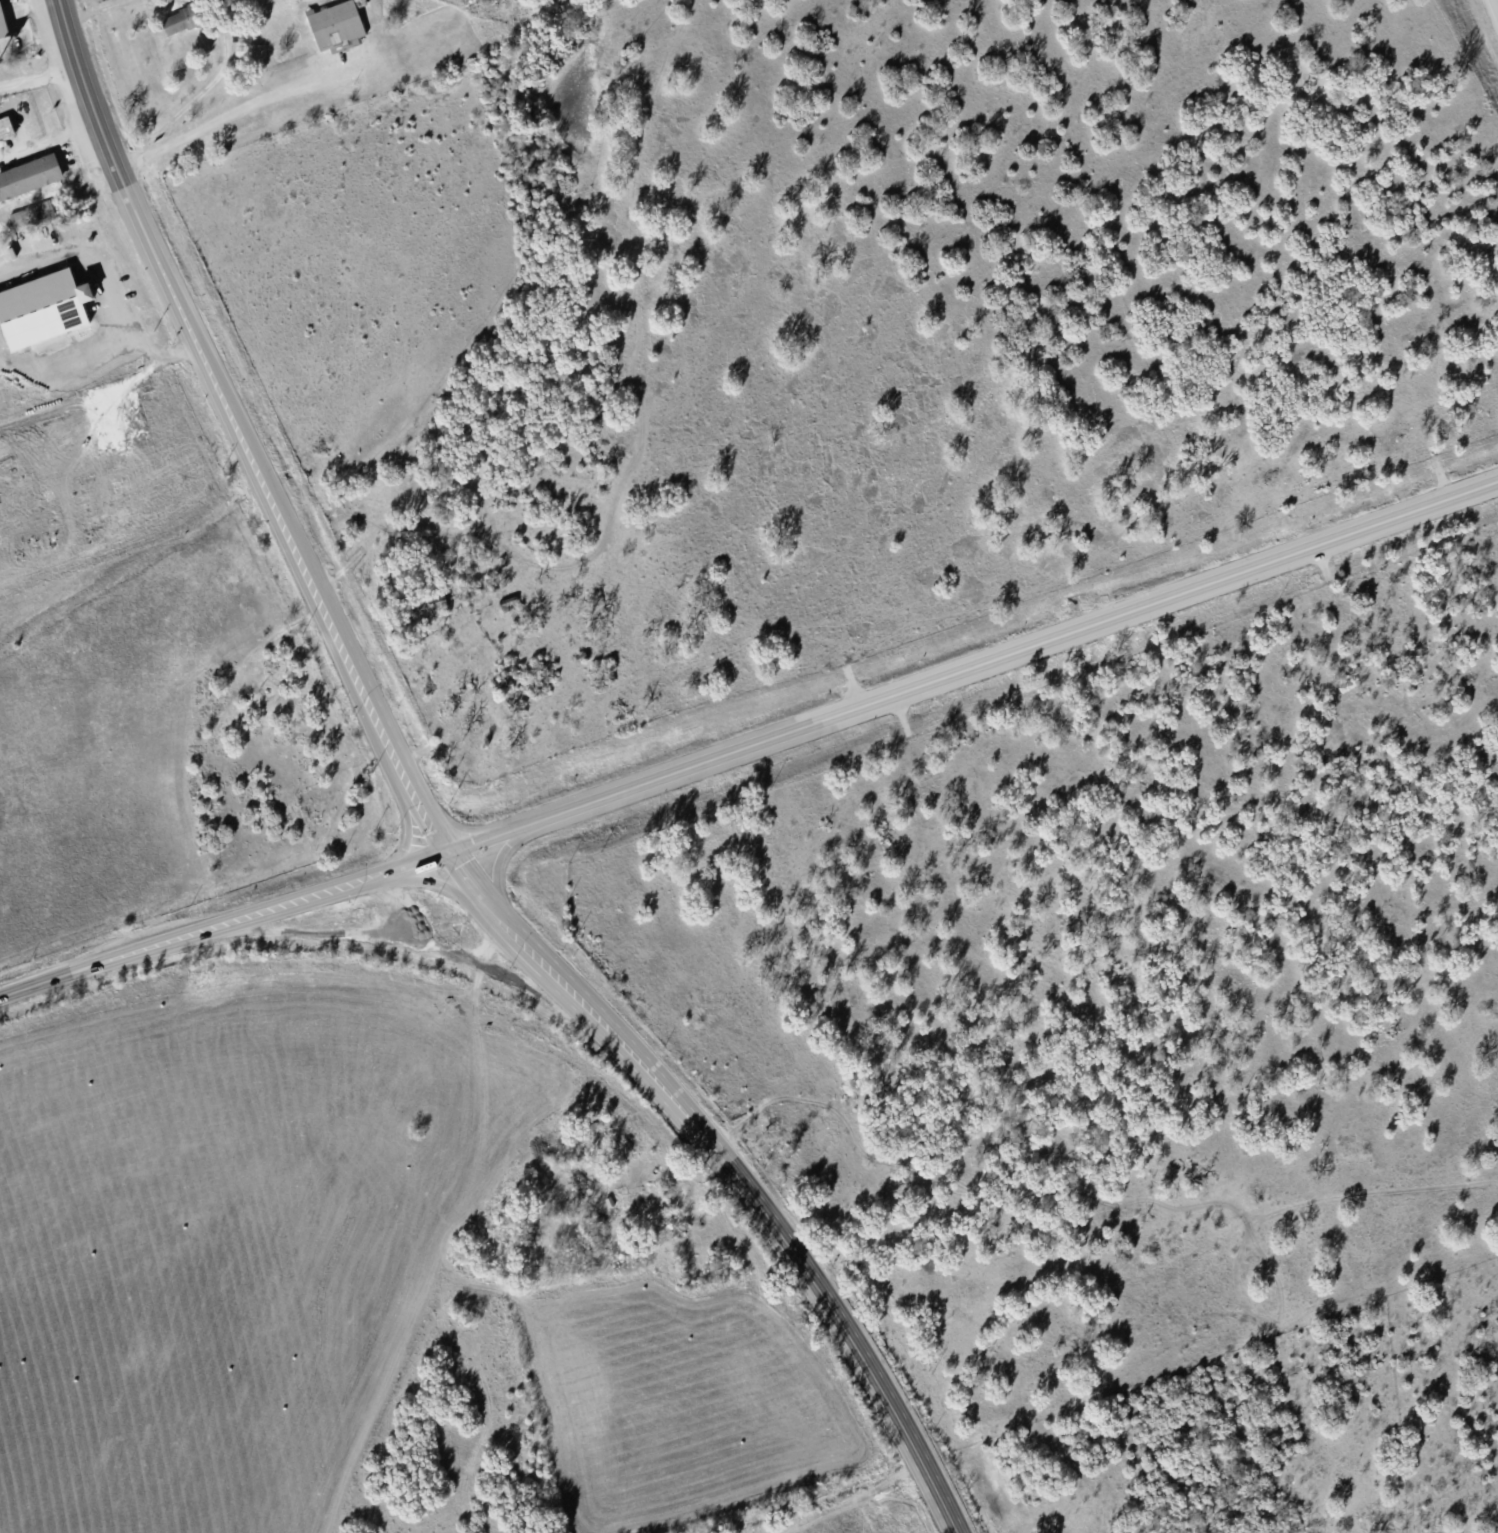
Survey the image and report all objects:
road: (93, 9)
road: (1494, 9)
building: (3, 21)
building: (178, 24)
building: (332, 27)
road: (38, 77)
road: (197, 95)
building: (3, 133)
building: (26, 181)
building: (33, 212)
building: (45, 307)
road: (186, 324)
road: (971, 664)
road: (386, 747)
road: (405, 826)
road: (495, 865)
road: (432, 879)
road: (222, 922)
road: (729, 1169)

